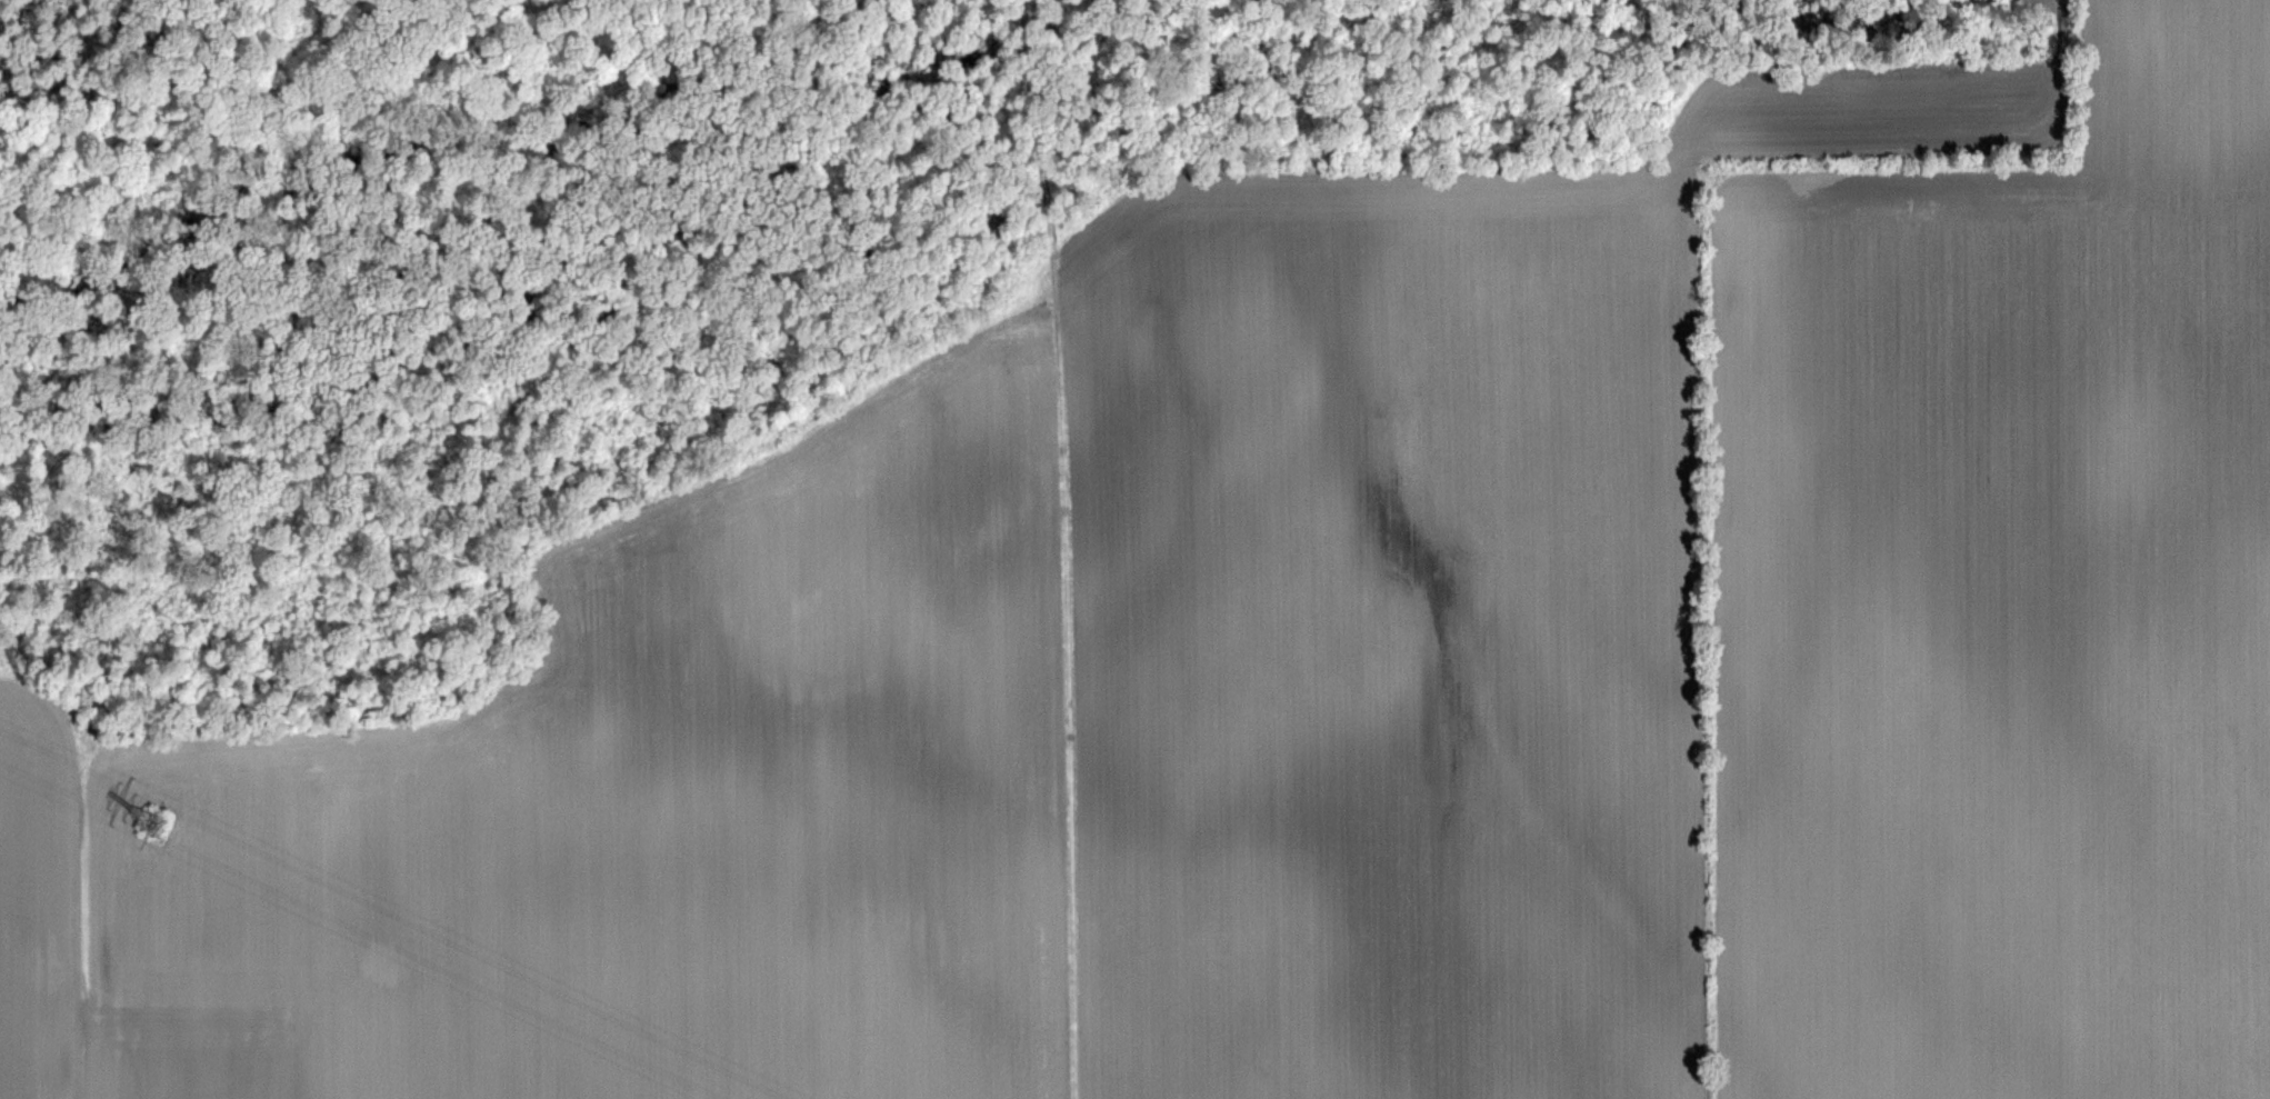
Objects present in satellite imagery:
power tower: (154, 826)

